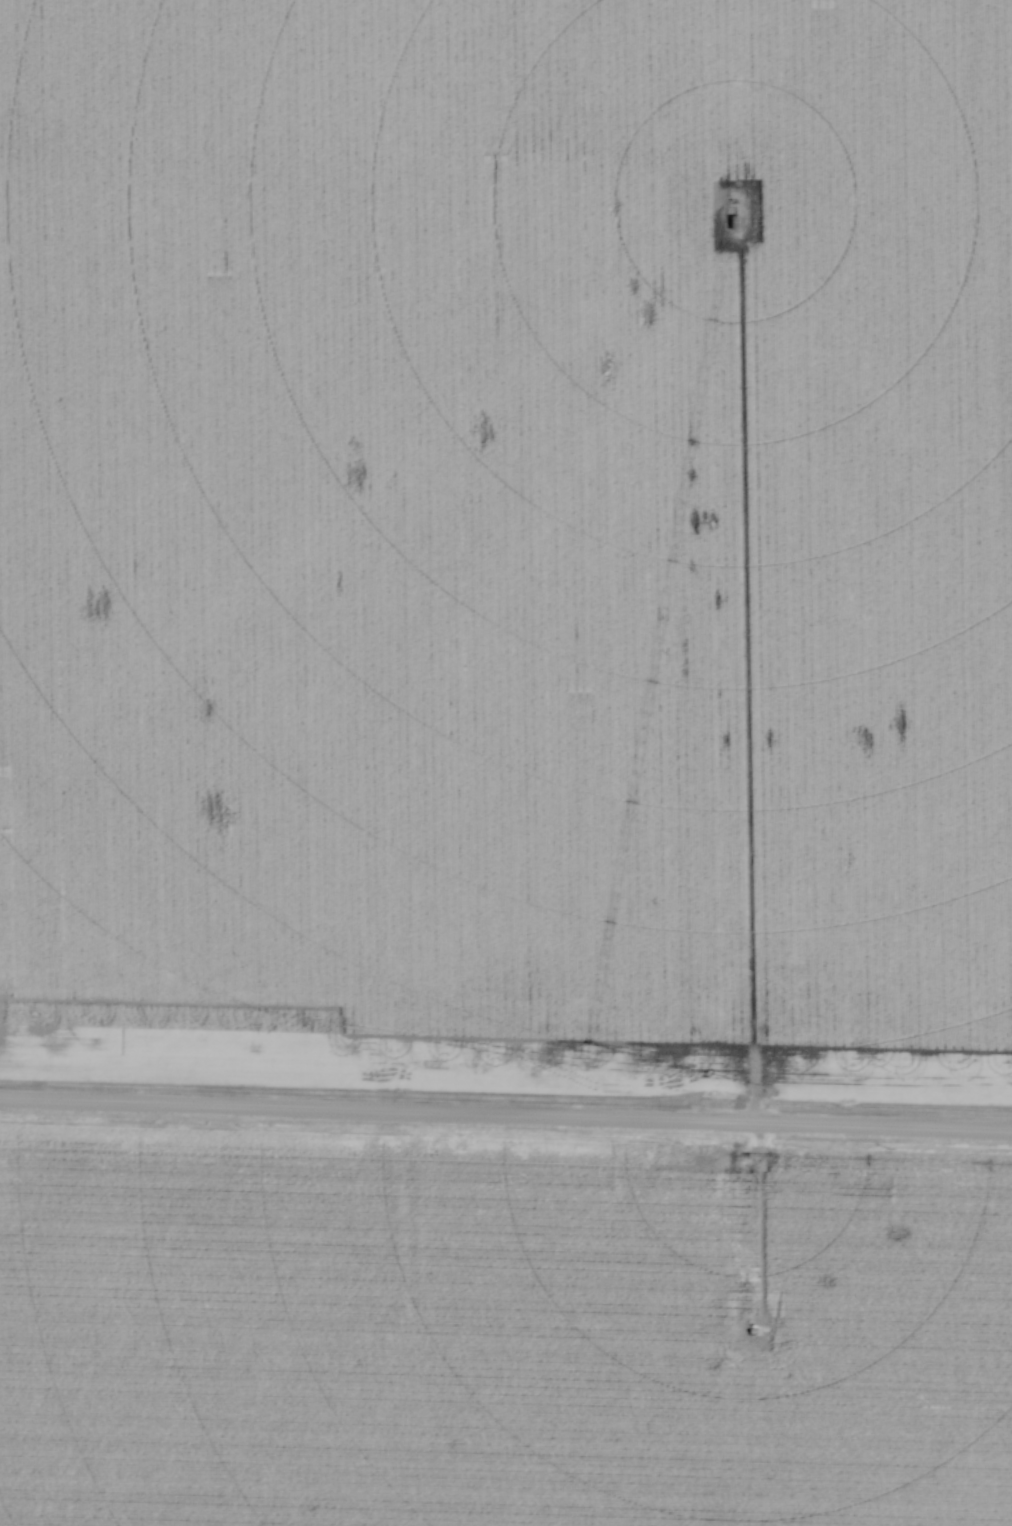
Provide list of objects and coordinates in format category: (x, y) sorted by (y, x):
road: (505, 1123)

